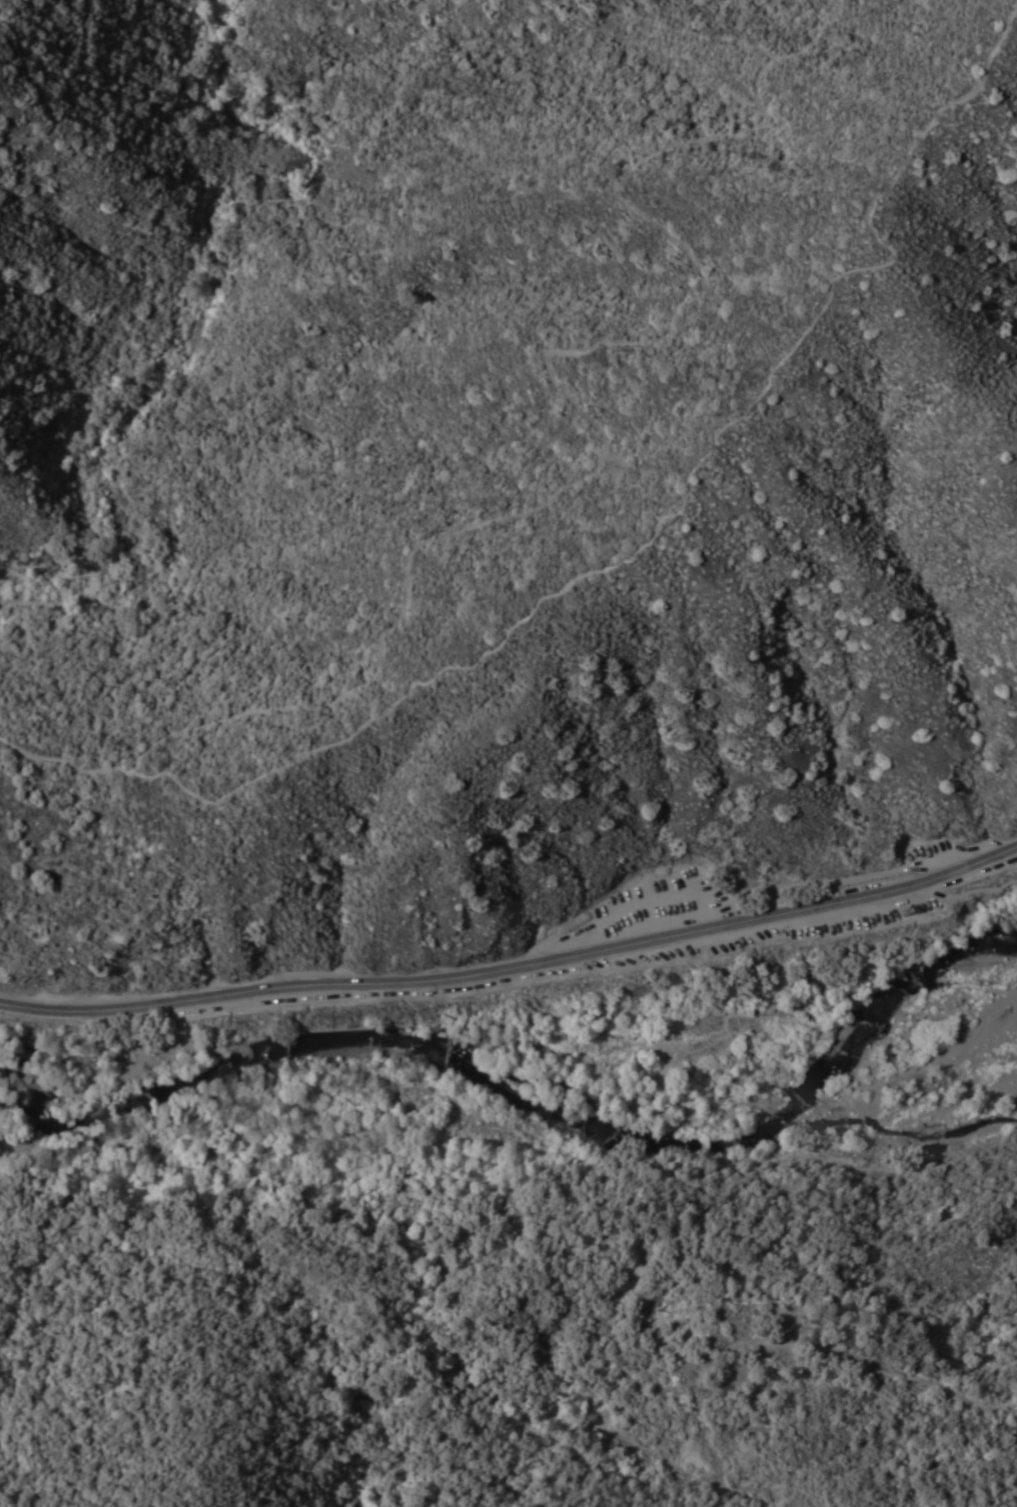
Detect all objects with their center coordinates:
road: (39, 97)
road: (560, 385)
road: (683, 501)
road: (63, 761)
parking lot: (659, 907)
road: (514, 968)
river: (502, 1077)

